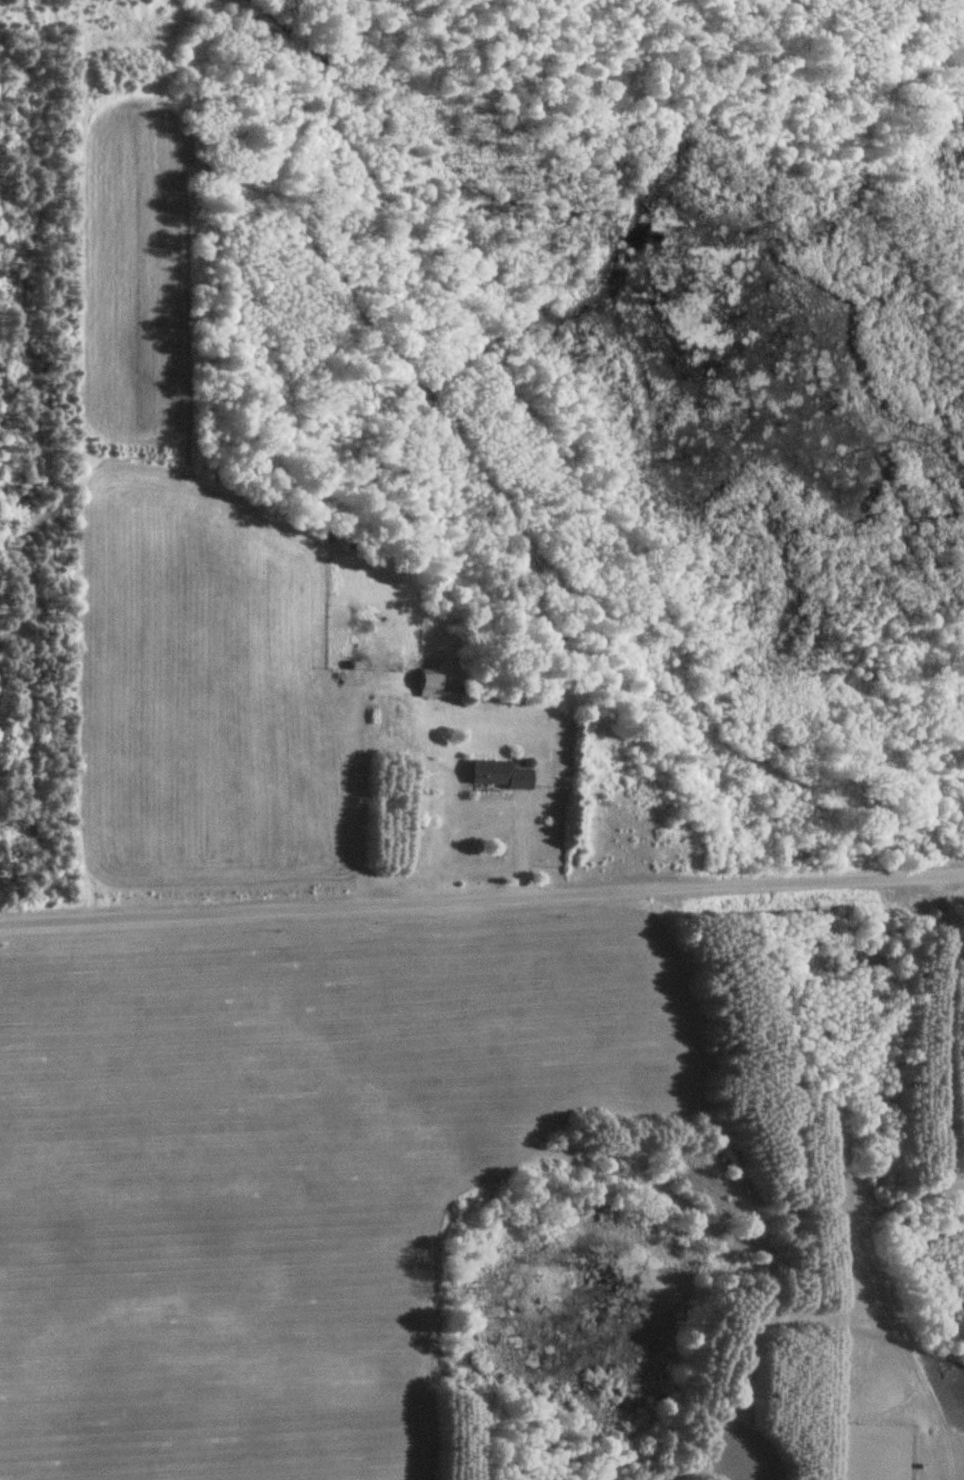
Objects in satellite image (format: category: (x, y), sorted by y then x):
river: (650, 265)
building: (427, 686)
building: (496, 775)
road: (482, 895)

